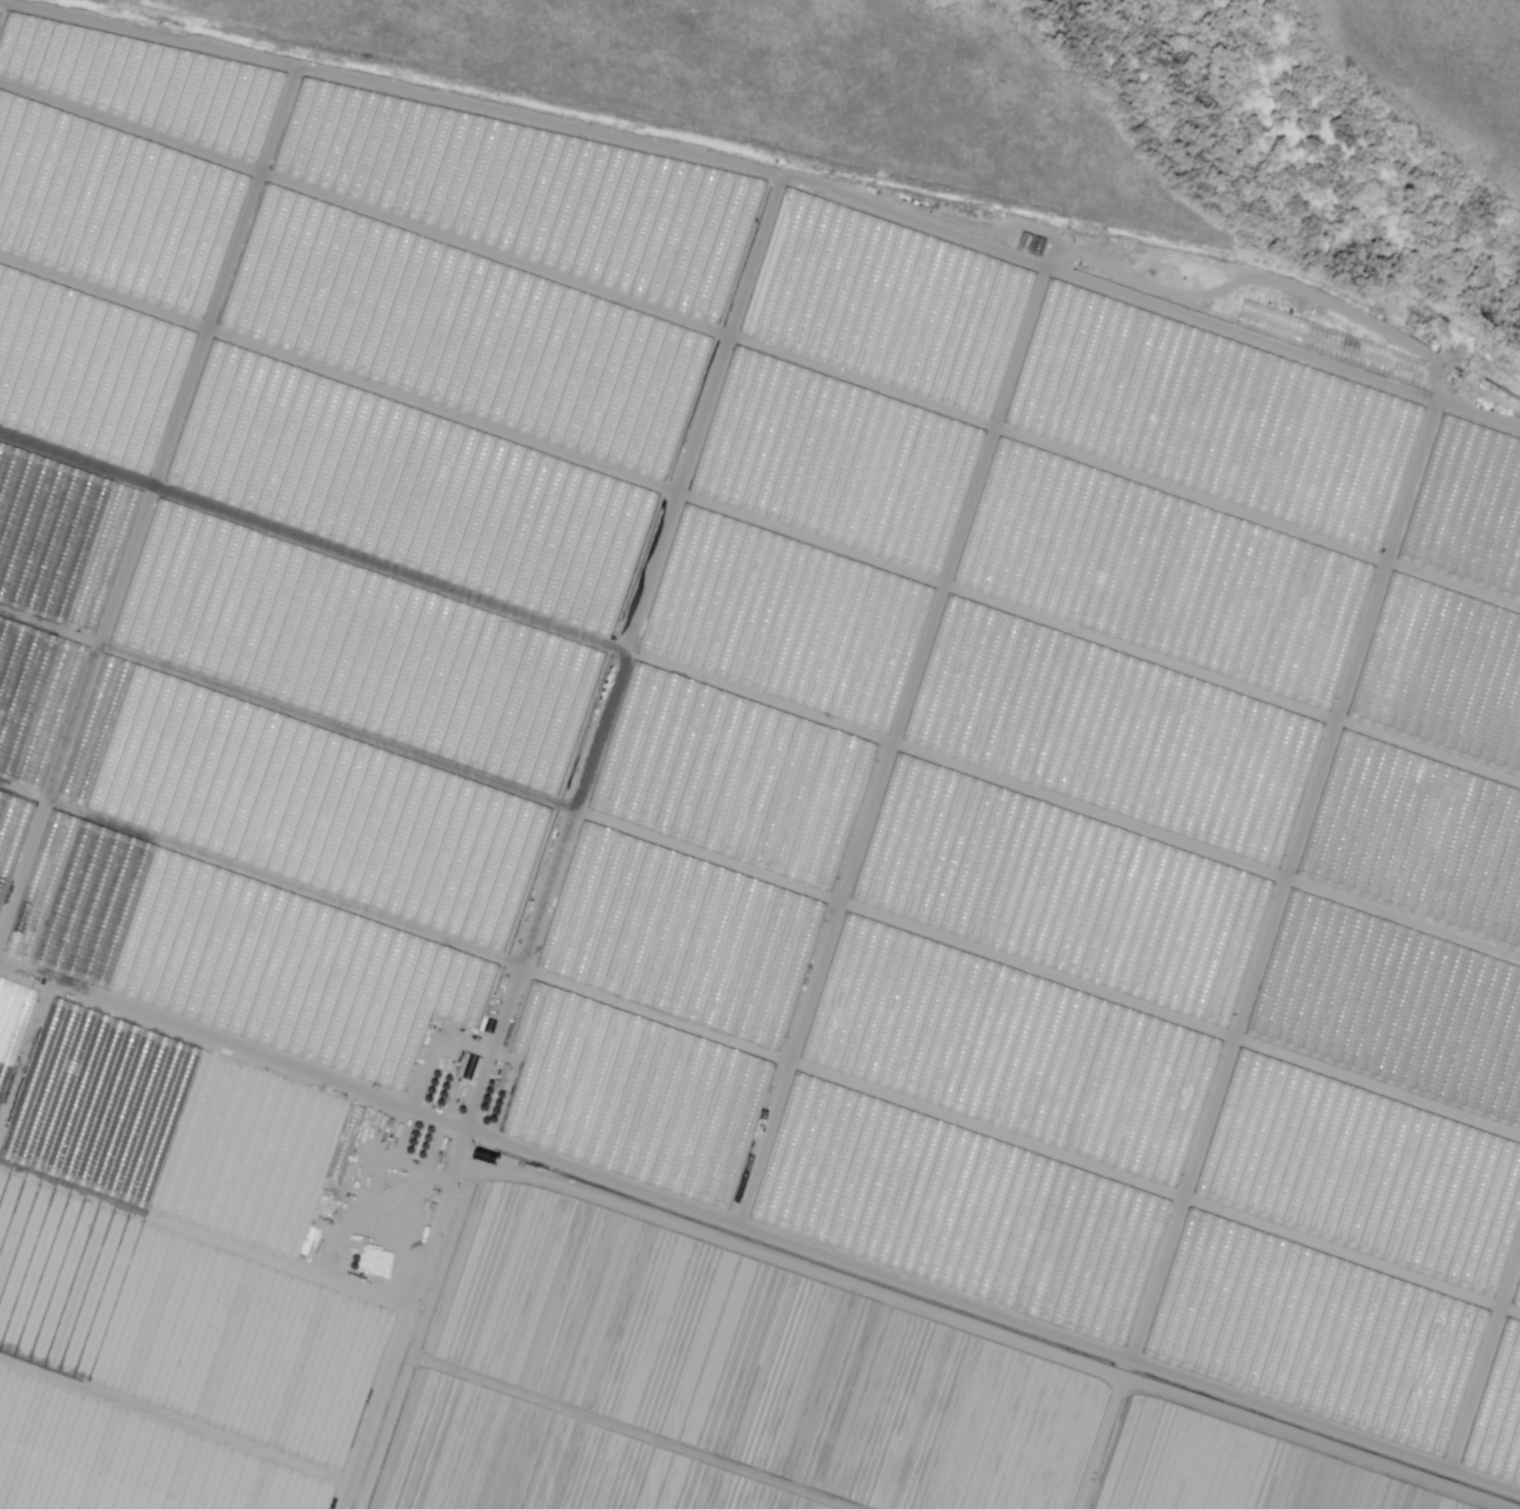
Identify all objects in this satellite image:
crop: (357, 304)
crop: (1119, 541)
crop: (264, 779)
crop: (1030, 1065)
crop: (187, 1267)
crop: (774, 1346)
crop: (593, 1446)
crop: (1243, 1470)
crop: (385, 1505)
crop: (7, 1506)

